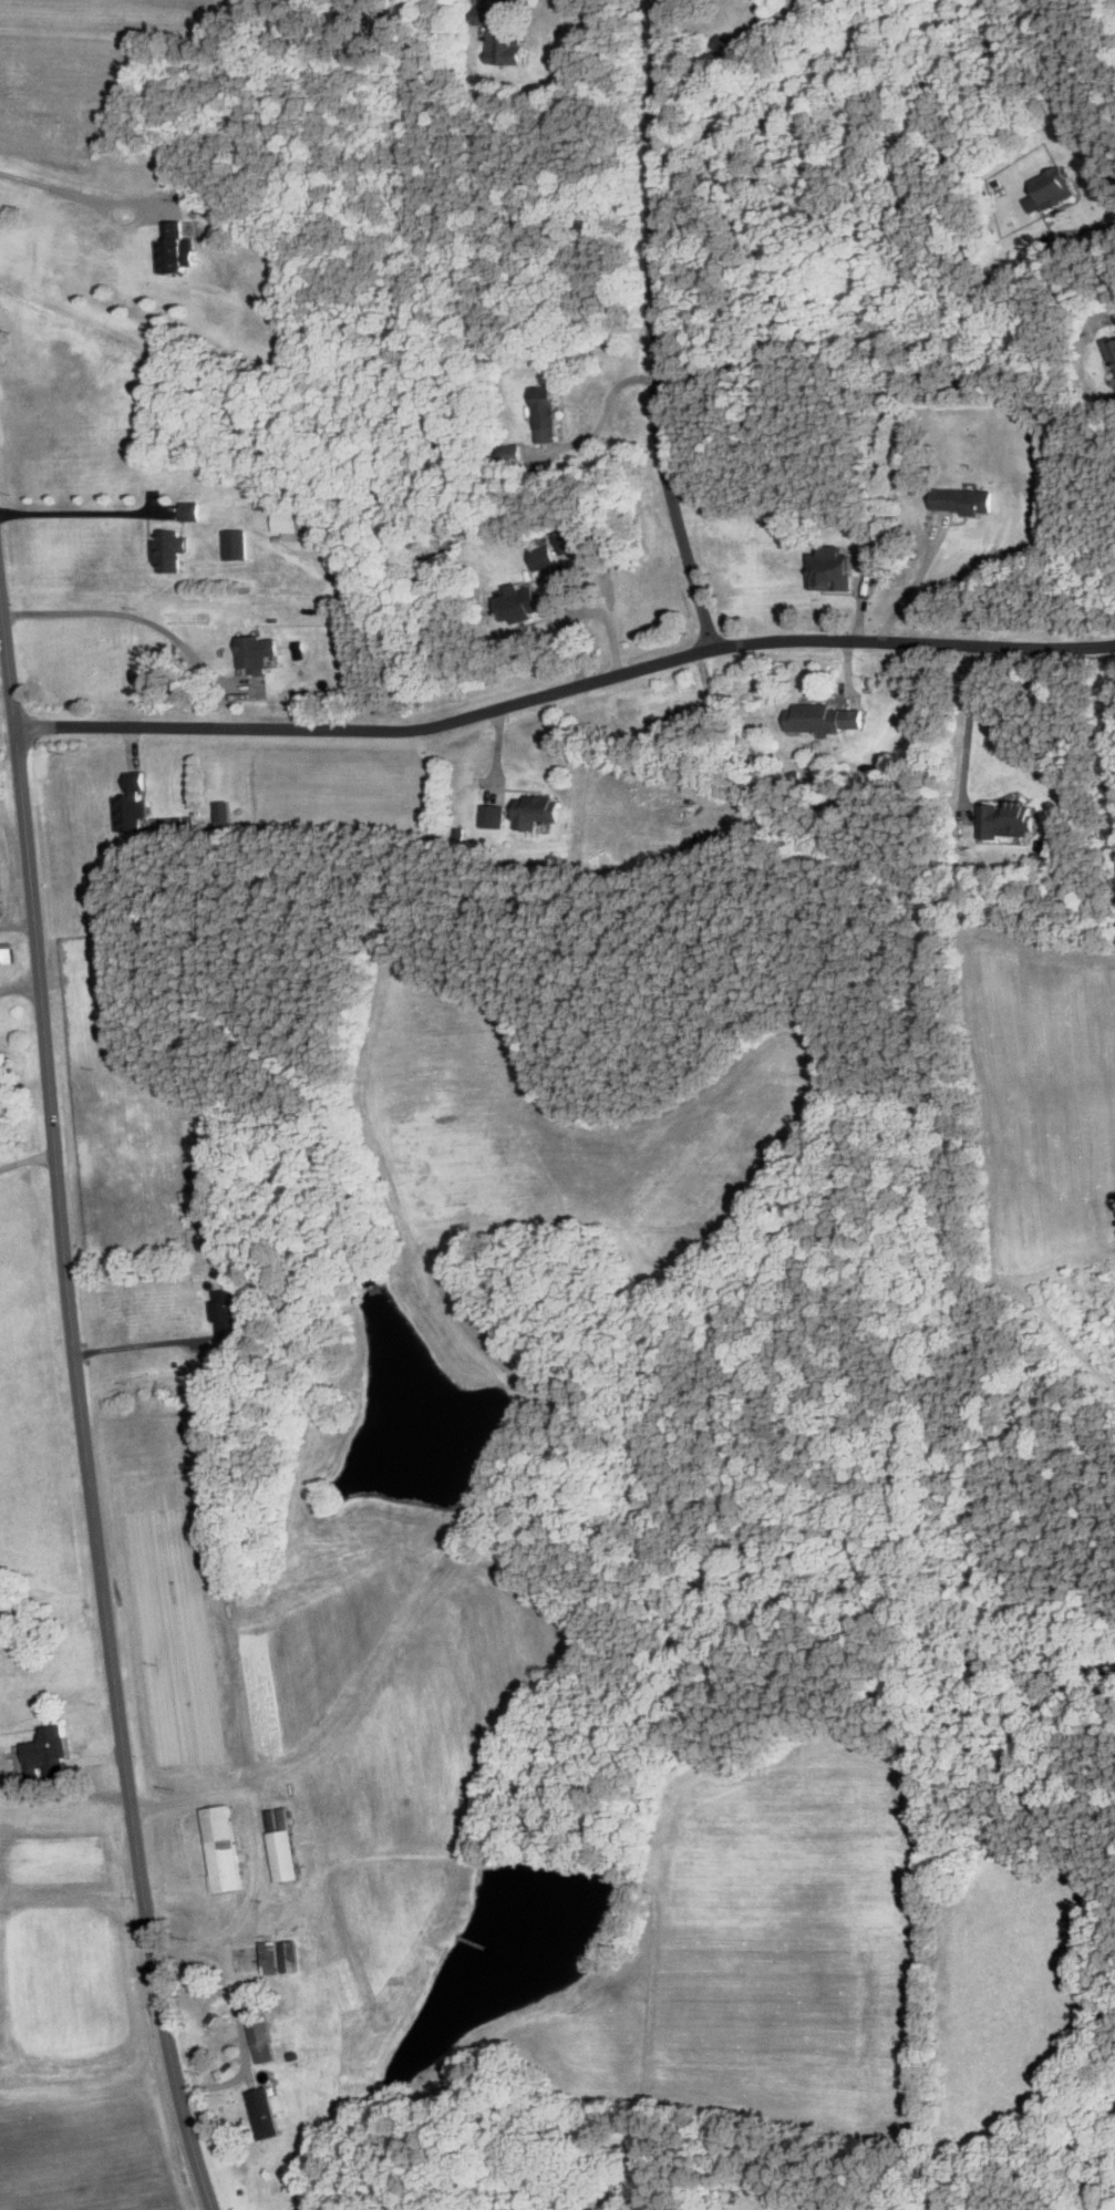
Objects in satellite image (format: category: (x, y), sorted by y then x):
building: (502, 37)
building: (1053, 187)
road: (71, 188)
road: (1081, 230)
building: (174, 248)
road: (665, 327)
building: (1112, 347)
road: (1114, 394)
building: (546, 412)
building: (512, 453)
building: (963, 500)
building: (190, 509)
road: (79, 510)
building: (287, 519)
building: (571, 538)
building: (235, 544)
building: (171, 548)
building: (543, 557)
building: (832, 567)
road: (915, 579)
building: (519, 605)
road: (122, 607)
road: (608, 621)
building: (251, 652)
road: (565, 689)
building: (825, 717)
road: (971, 724)
building: (130, 803)
building: (537, 810)
building: (494, 815)
building: (1009, 819)
building: (1, 900)
building: (7, 953)
building: (188, 1132)
road: (27, 1153)
building: (229, 1315)
road: (132, 1344)
road: (80, 1406)
building: (48, 1754)
building: (221, 1848)
road: (251, 1850)
building: (285, 1856)
building: (290, 1956)
building: (270, 1958)
road: (244, 2033)
building: (261, 2037)
building: (265, 2111)

